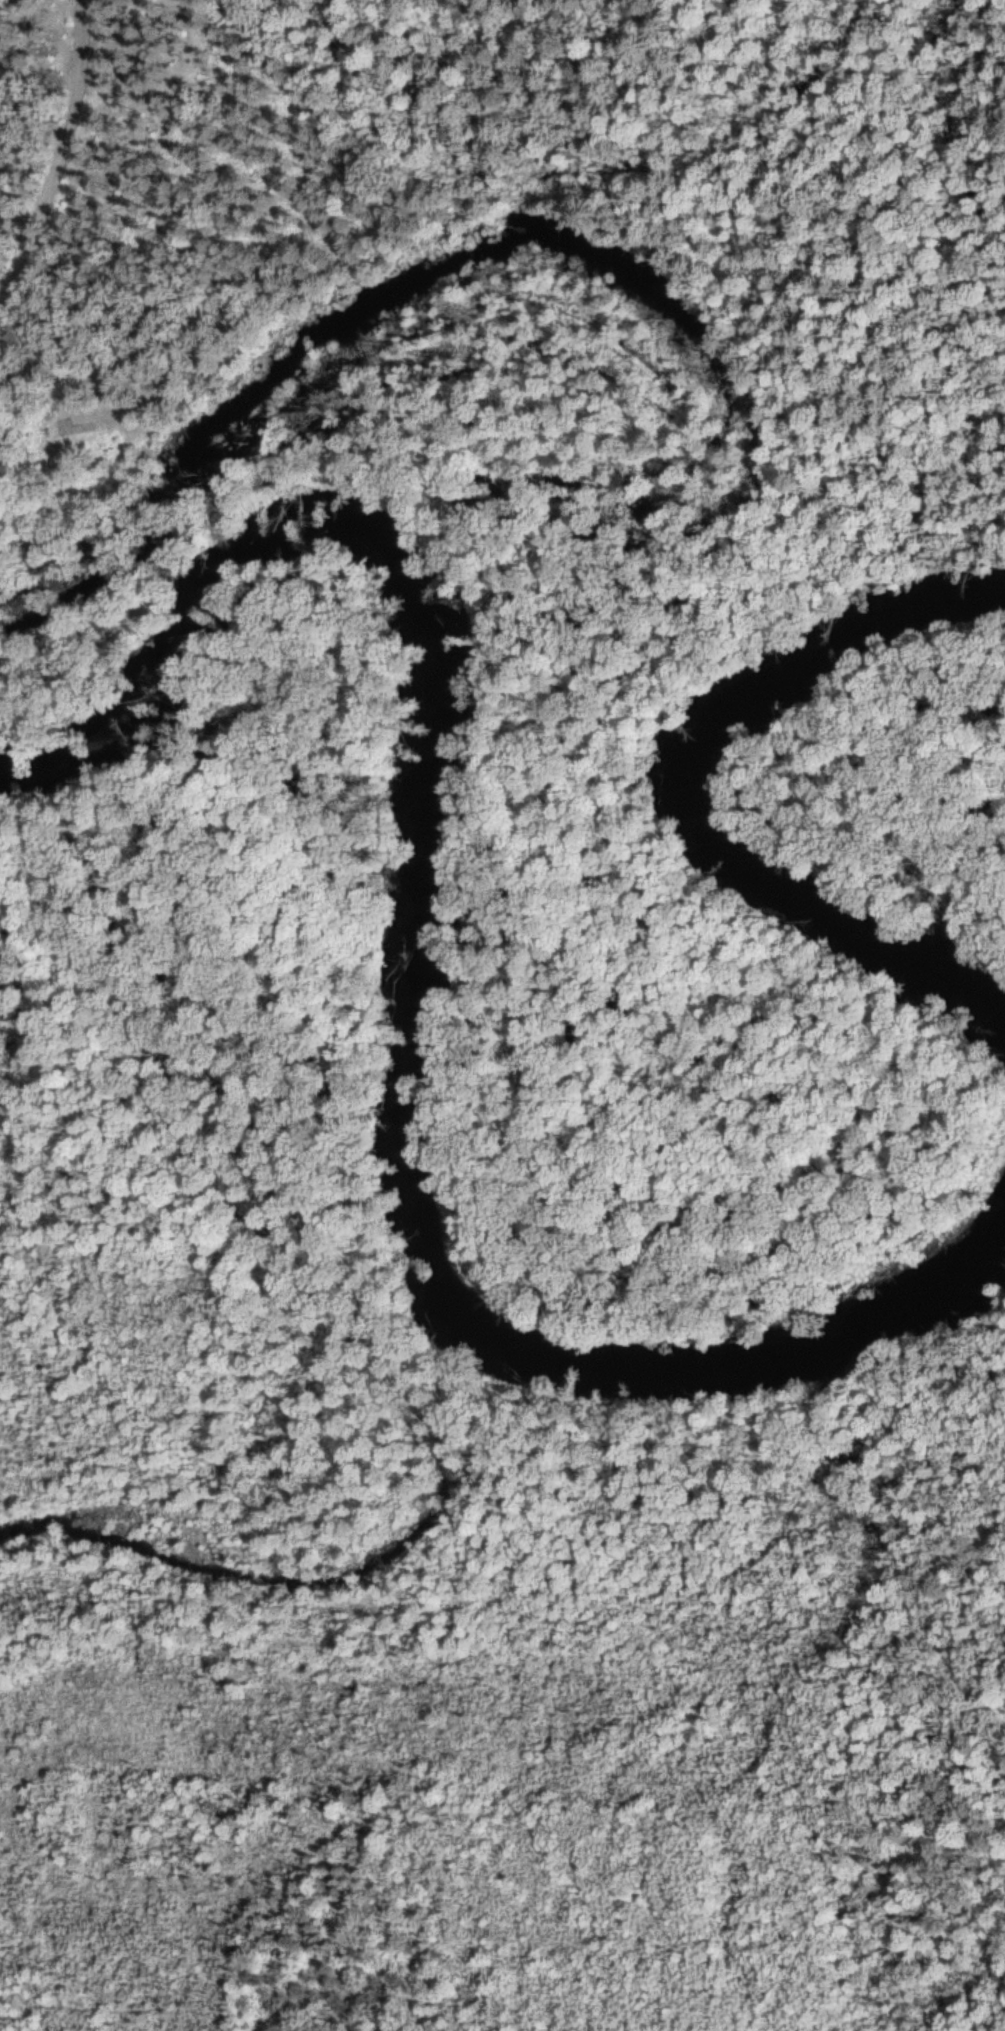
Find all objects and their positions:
road: (63, 154)
building: (71, 425)
river: (689, 796)
river: (405, 991)

